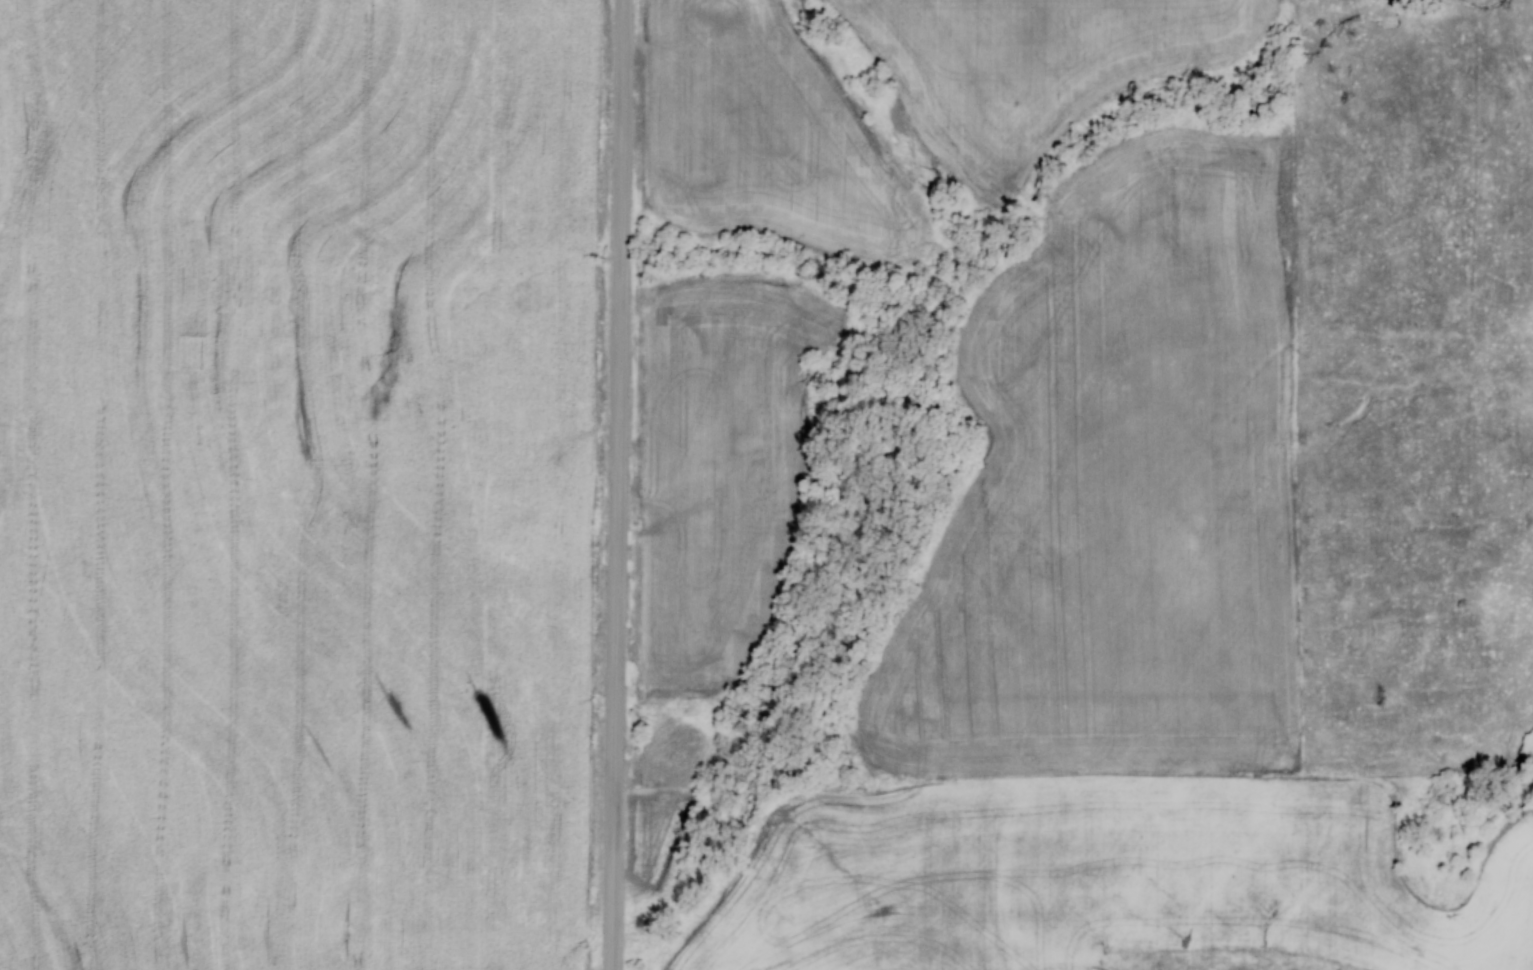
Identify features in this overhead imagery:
road: (615, 484)

